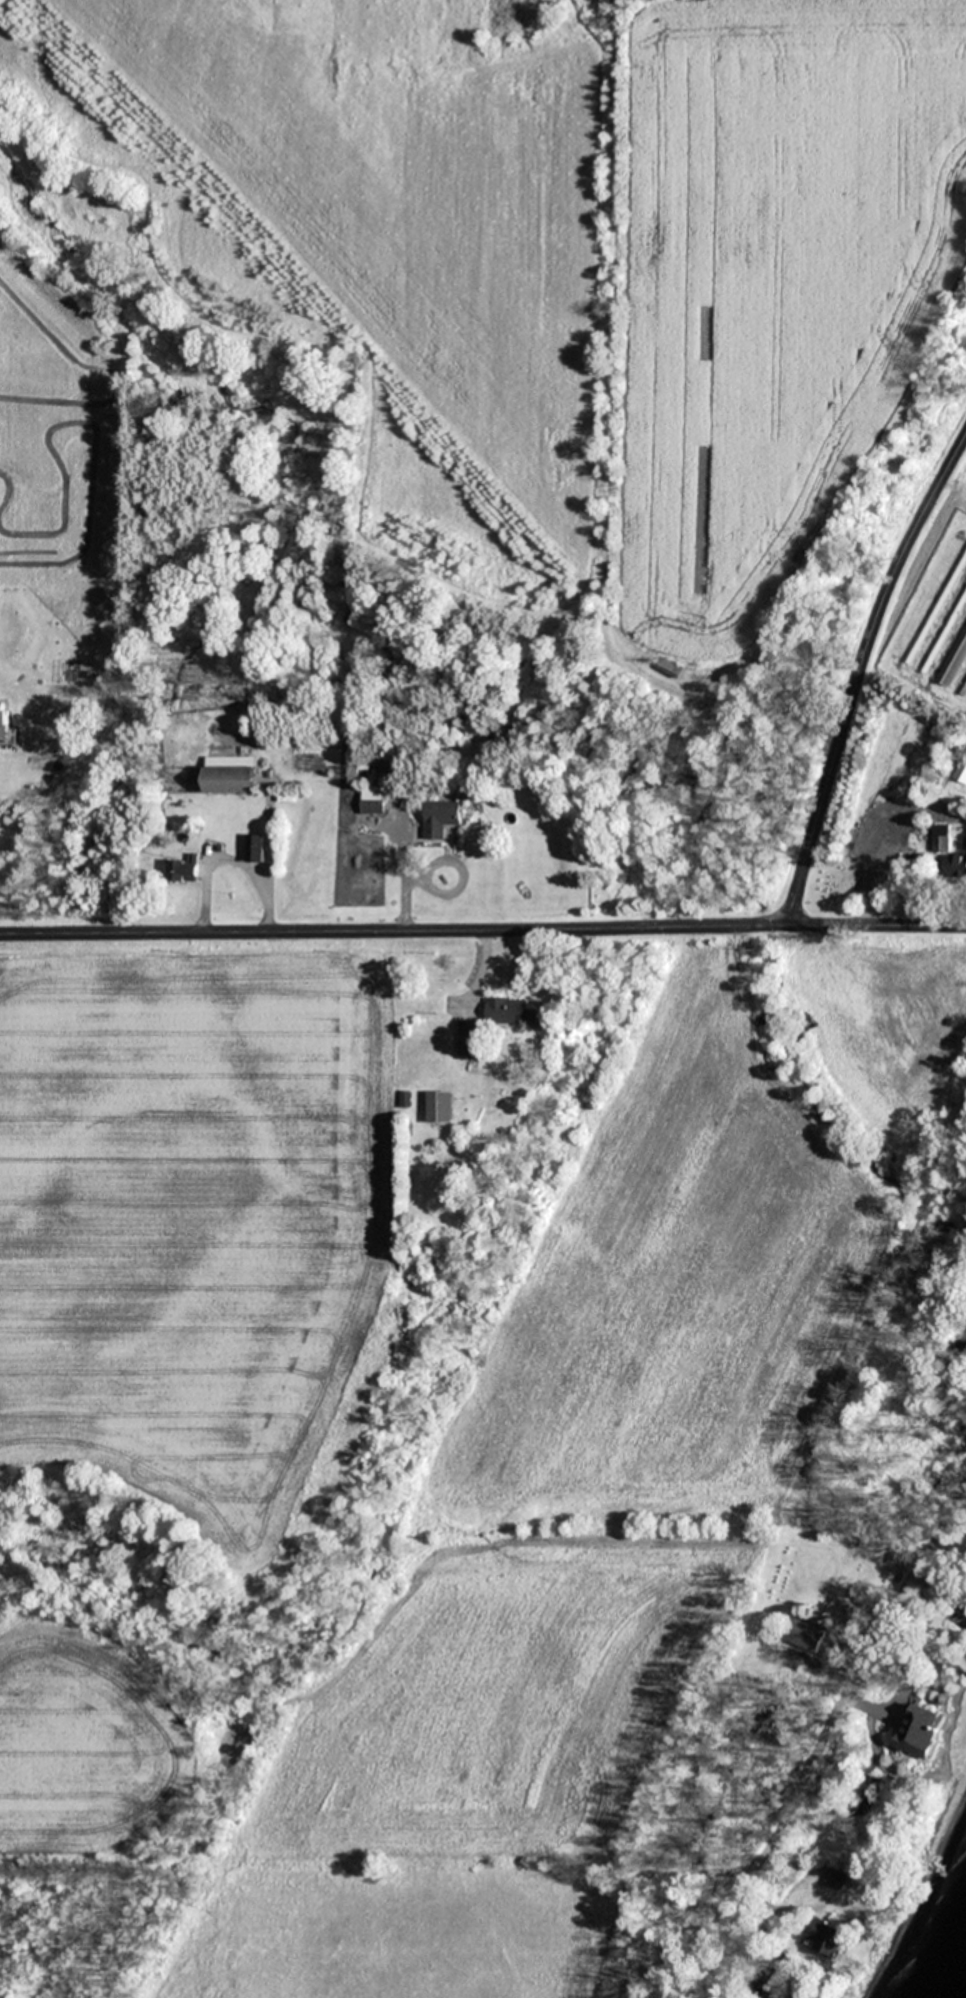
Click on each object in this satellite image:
building: (955, 661)
building: (673, 667)
road: (858, 668)
building: (233, 779)
building: (374, 803)
building: (442, 818)
building: (941, 837)
building: (965, 841)
building: (957, 865)
building: (185, 870)
road: (483, 929)
building: (511, 1011)
building: (469, 1040)
building: (441, 1107)
building: (806, 1634)
building: (922, 1730)
road: (807, 1771)
building: (827, 1939)

